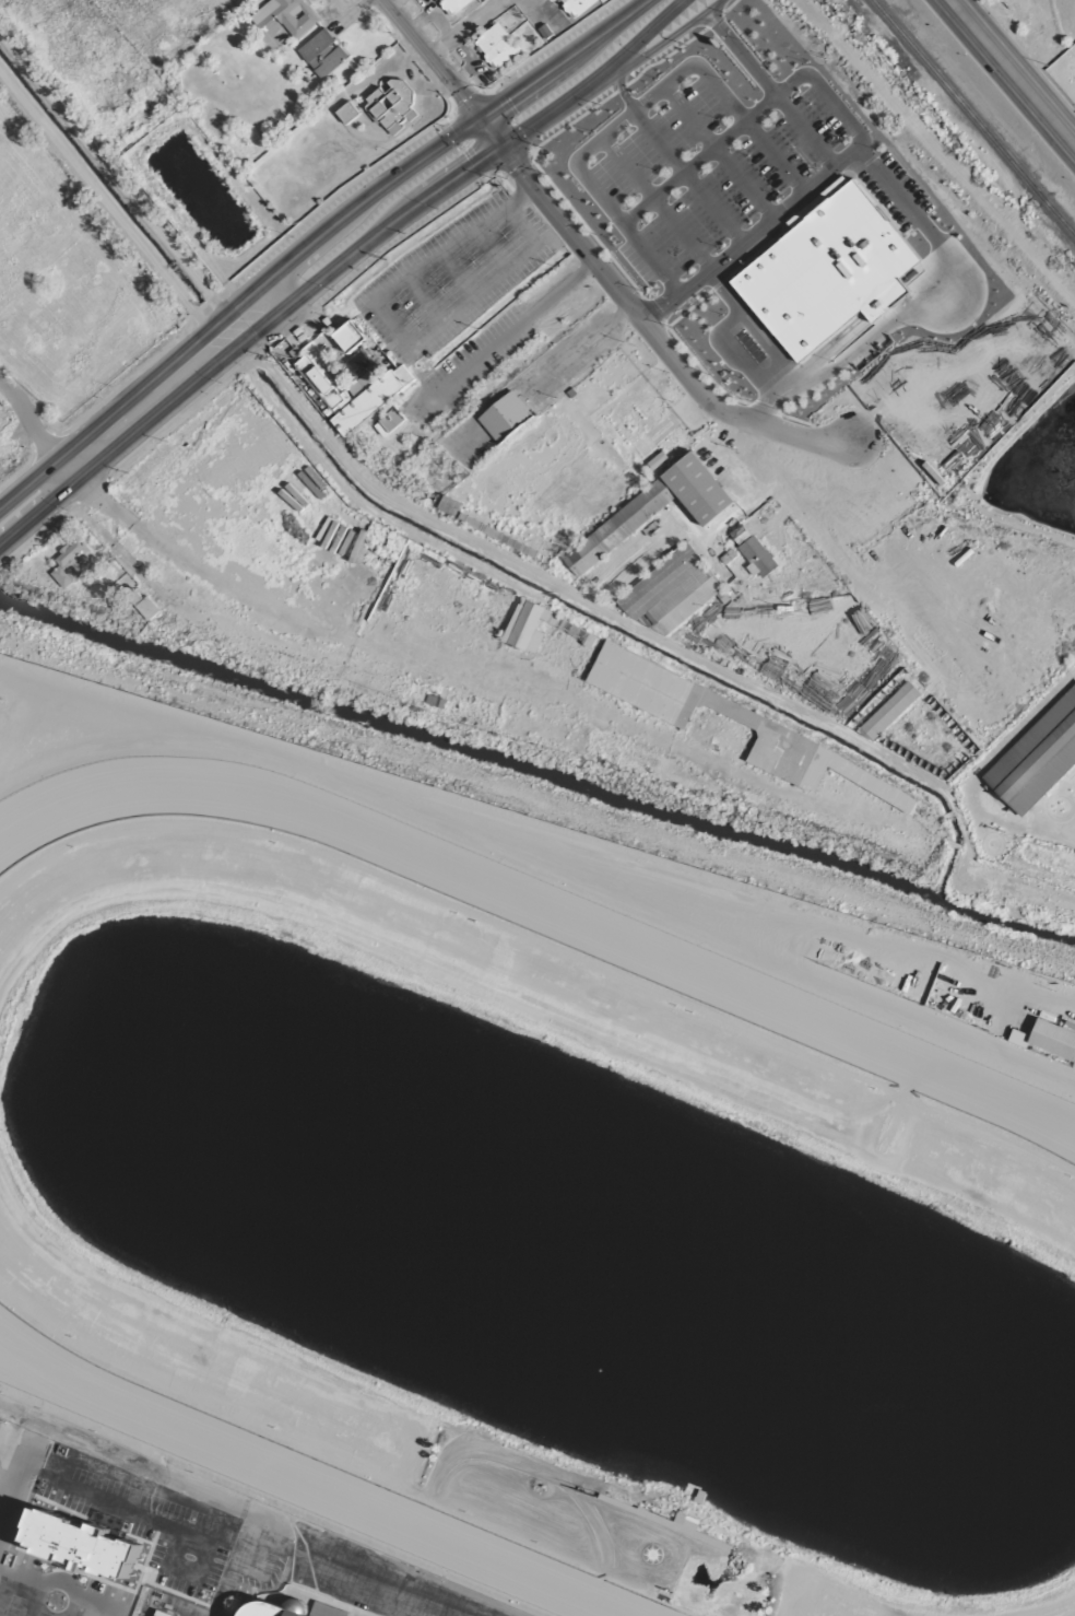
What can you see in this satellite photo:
building: (454, 5)
building: (577, 5)
building: (285, 17)
road: (636, 38)
road: (660, 43)
building: (496, 45)
road: (744, 52)
building: (322, 54)
road: (428, 60)
road: (1013, 72)
road: (625, 89)
road: (828, 90)
railway: (954, 92)
building: (391, 103)
road: (637, 112)
building: (347, 114)
traffic signals: (477, 120)
traffic signals: (498, 144)
railway: (1039, 192)
railway: (1060, 216)
road: (312, 238)
road: (725, 294)
road: (292, 302)
road: (919, 307)
road: (640, 319)
road: (731, 321)
road: (394, 330)
building: (350, 336)
building: (356, 395)
building: (688, 415)
building: (505, 418)
road: (29, 420)
building: (389, 422)
building: (635, 426)
road: (68, 465)
building: (449, 506)
building: (652, 511)
building: (757, 558)
building: (72, 563)
building: (670, 592)
building: (146, 609)
building: (566, 627)
building: (889, 711)
building: (748, 718)
building: (1036, 757)
track: (520, 917)
building: (1049, 1040)
fountain: (586, 1350)
fountain: (926, 1433)
track: (303, 1478)
parking lot: (133, 1509)
building: (76, 1544)
road: (56, 1578)
road: (20, 1579)
road: (99, 1607)
road: (220, 1607)
building: (274, 1608)
road: (46, 1611)

